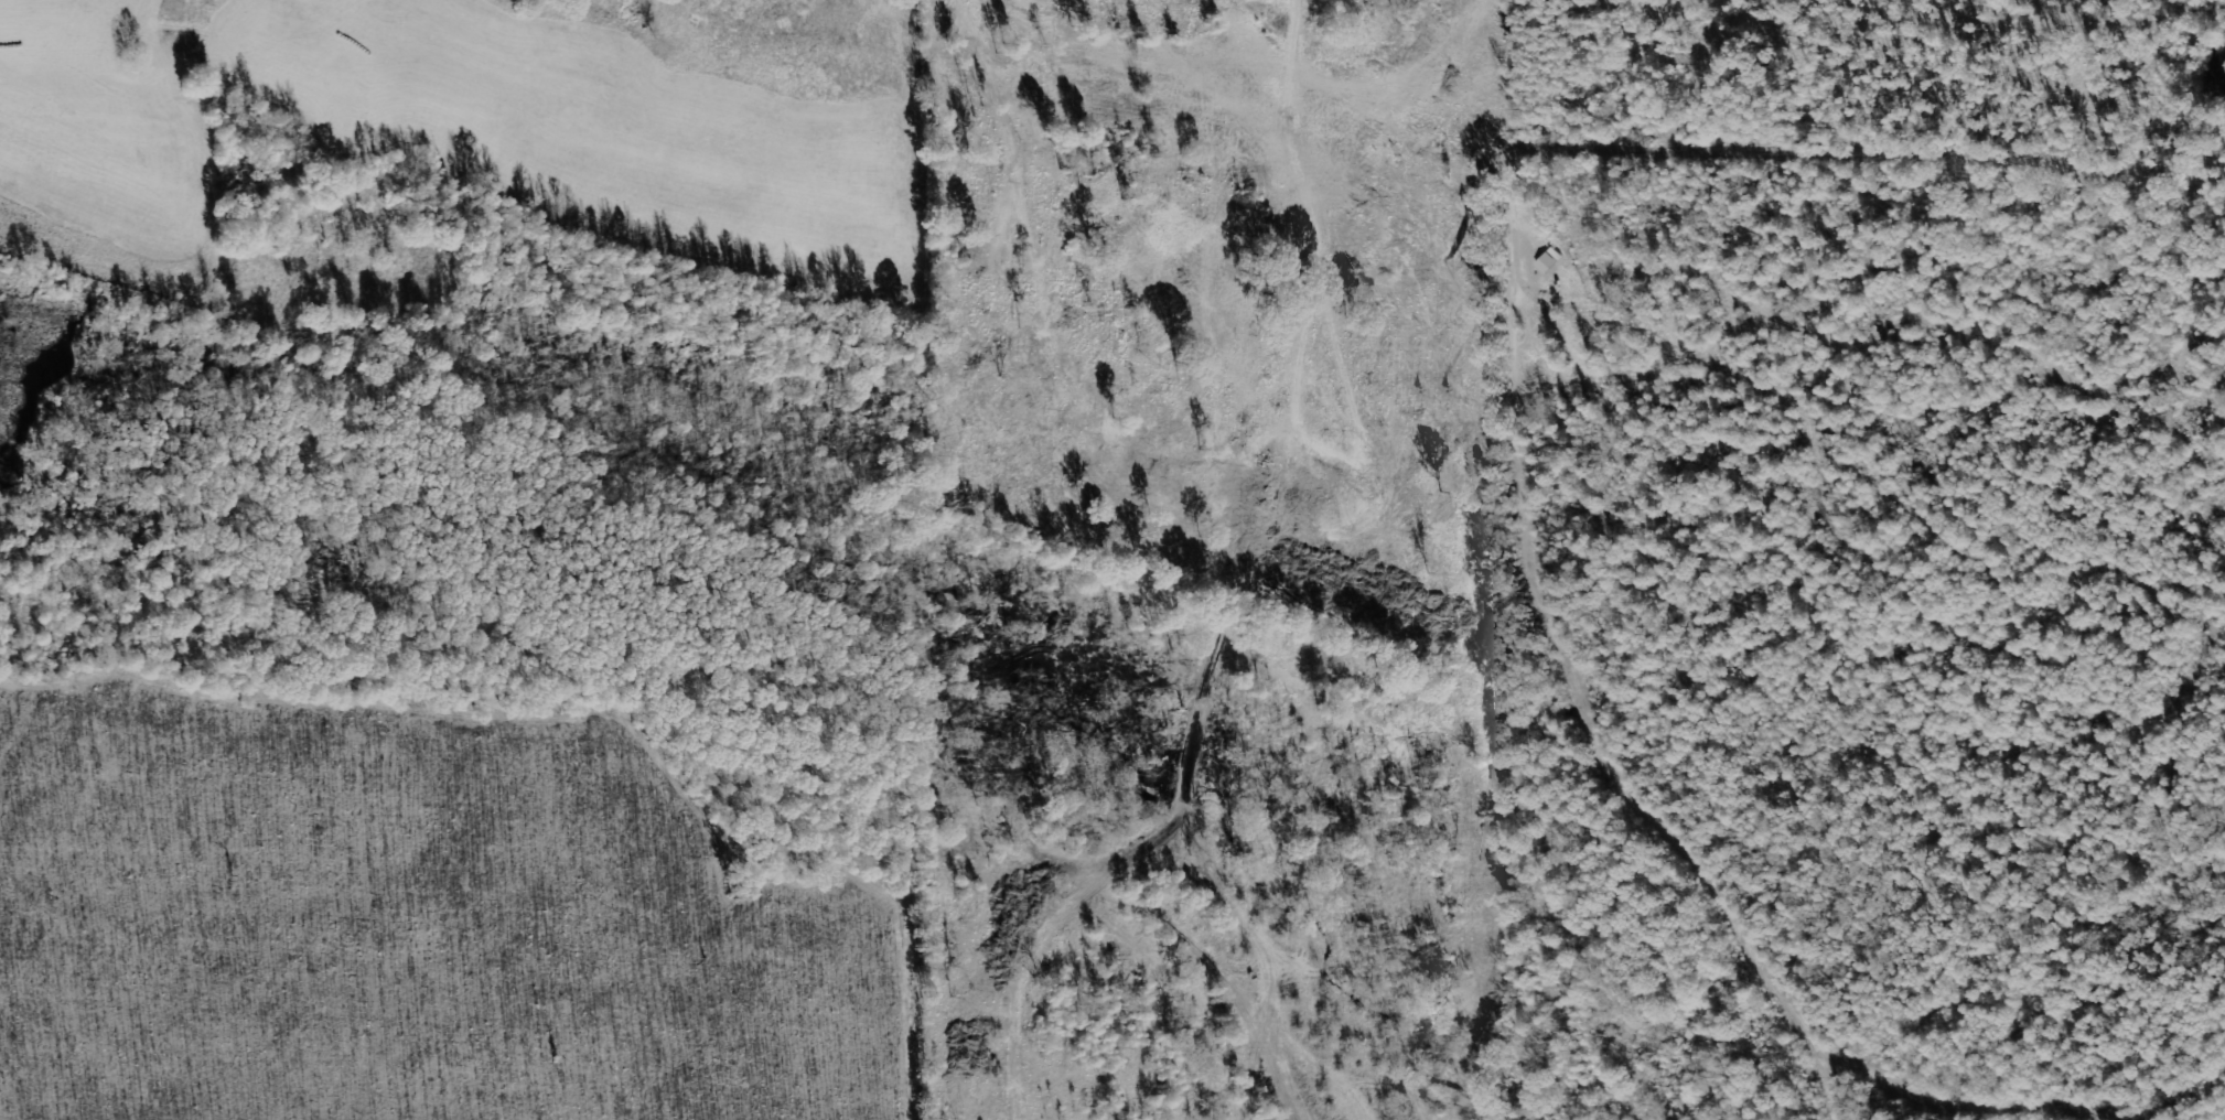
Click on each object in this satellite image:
road: (1515, 170)

